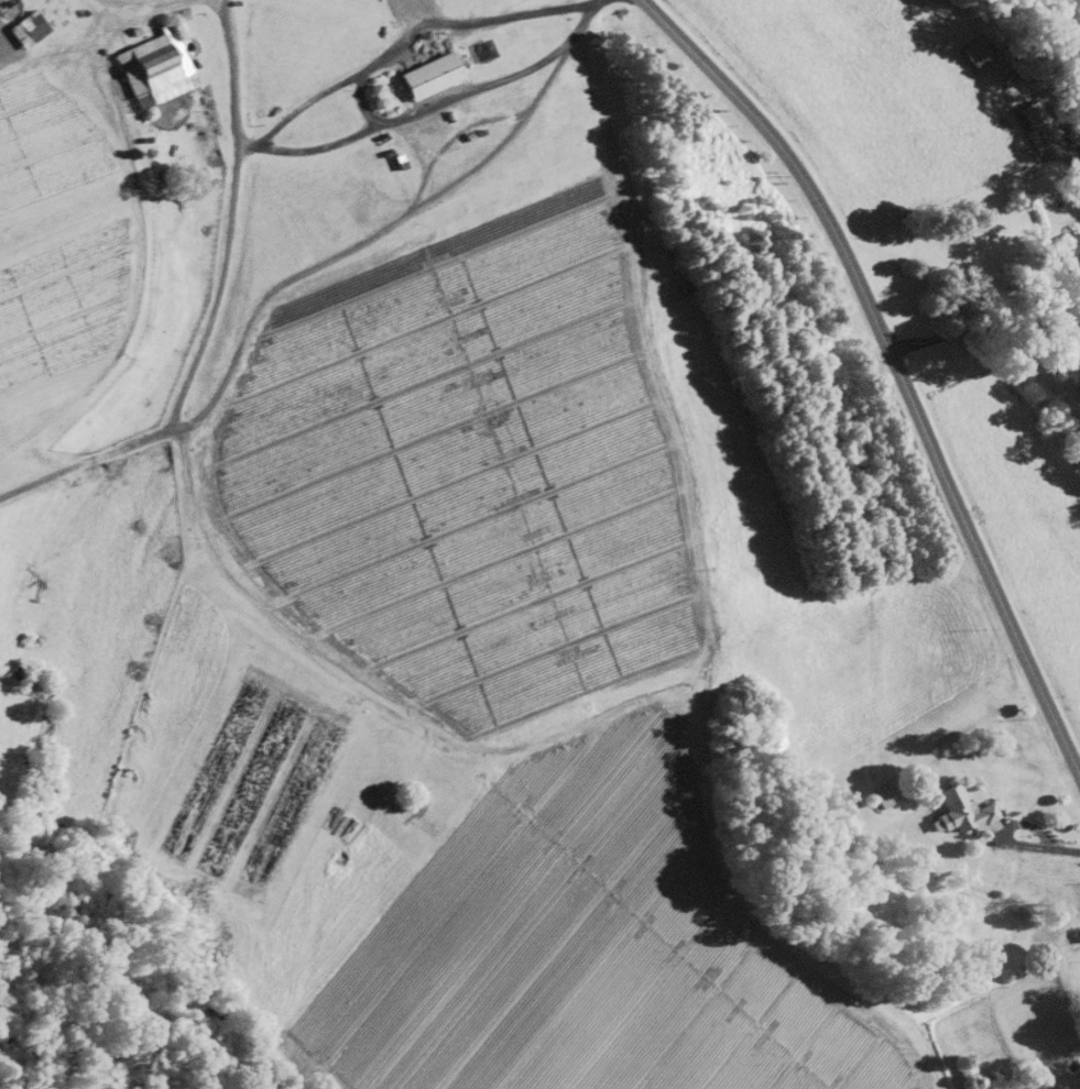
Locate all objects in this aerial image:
road: (590, 2)
building: (25, 28)
building: (153, 66)
building: (427, 75)
road: (357, 99)
building: (1036, 123)
building: (1070, 255)
road: (980, 321)
road: (890, 366)
building: (883, 793)
building: (959, 809)
road: (1002, 829)
road: (1068, 848)

